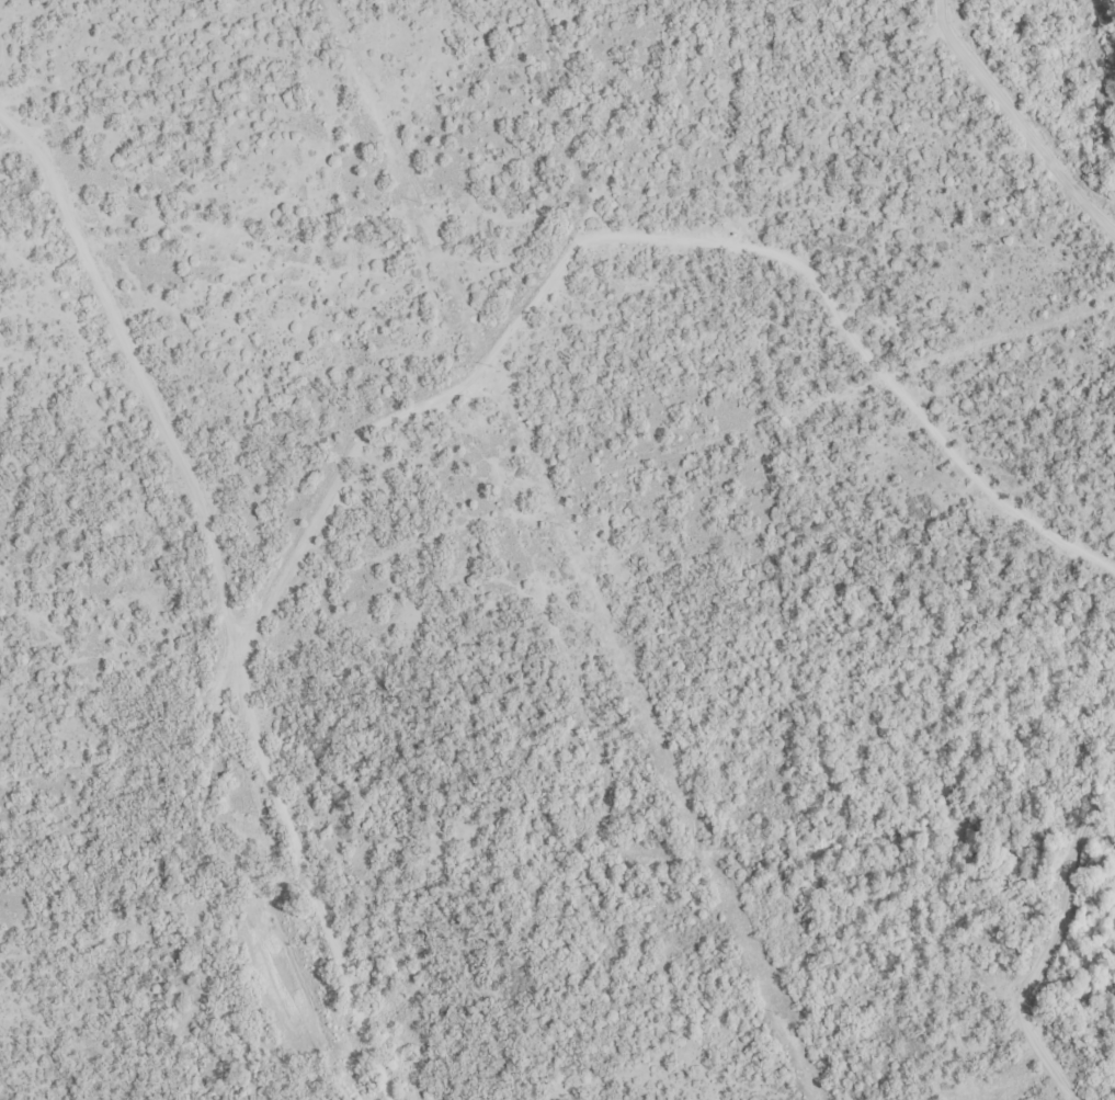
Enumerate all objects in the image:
road: (55, 55)
road: (655, 233)
road: (238, 585)

